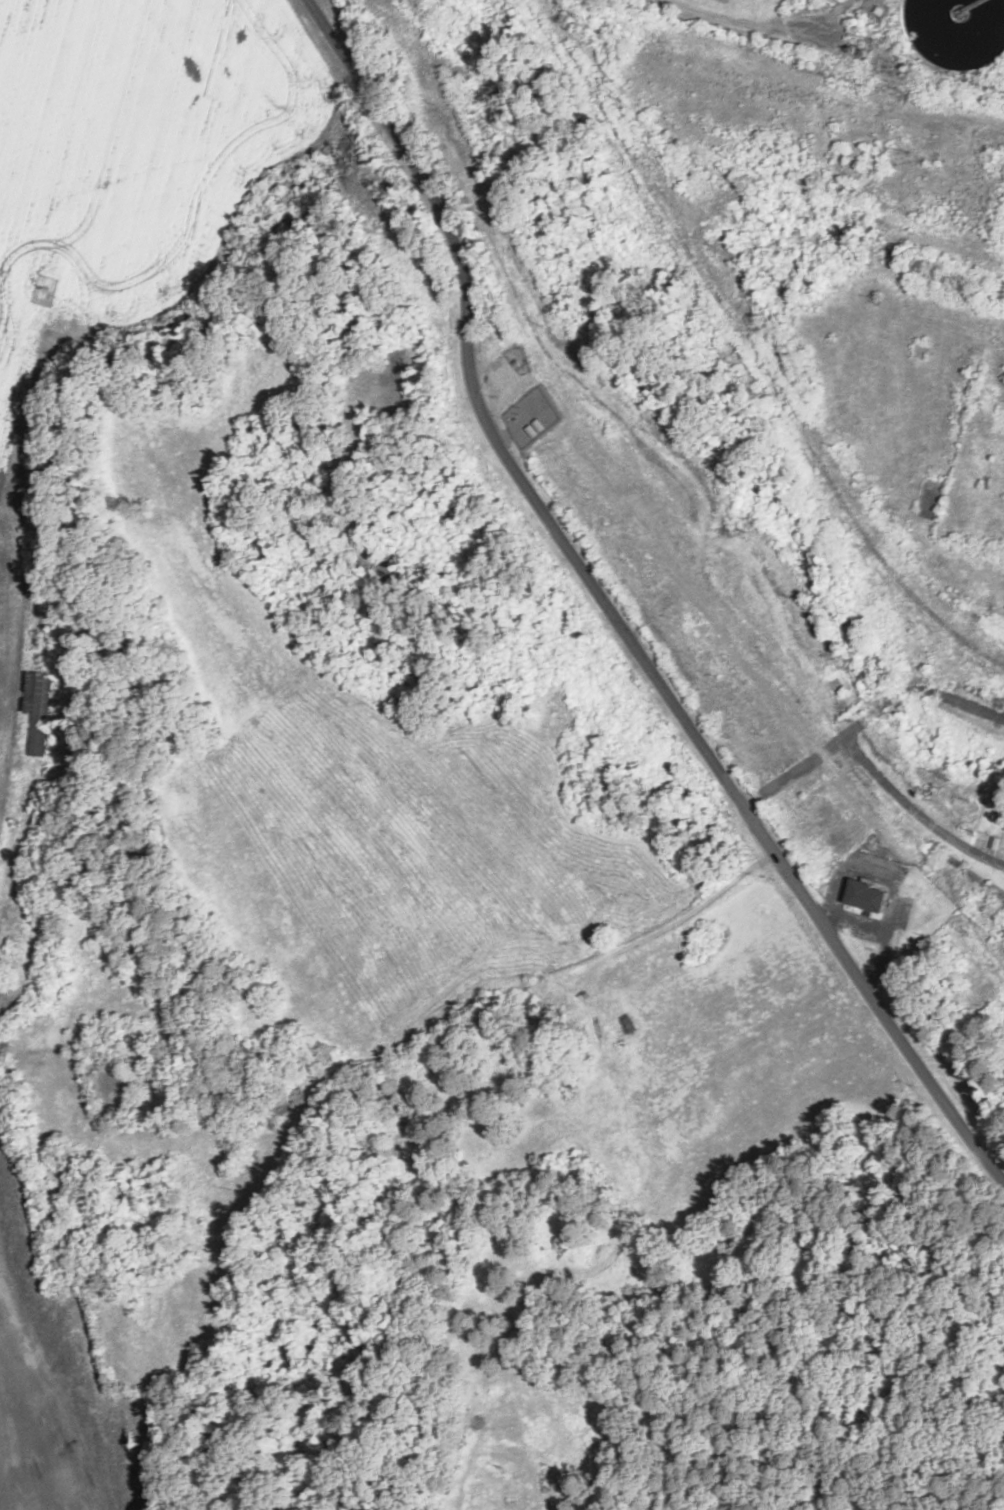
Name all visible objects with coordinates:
building: (876, 11)
building: (964, 33)
railway: (750, 351)
building: (969, 376)
road: (611, 612)
building: (40, 715)
building: (844, 763)
road: (924, 804)
building: (868, 896)
building: (711, 933)
building: (528, 1003)
building: (626, 1024)
road: (809, 1280)

